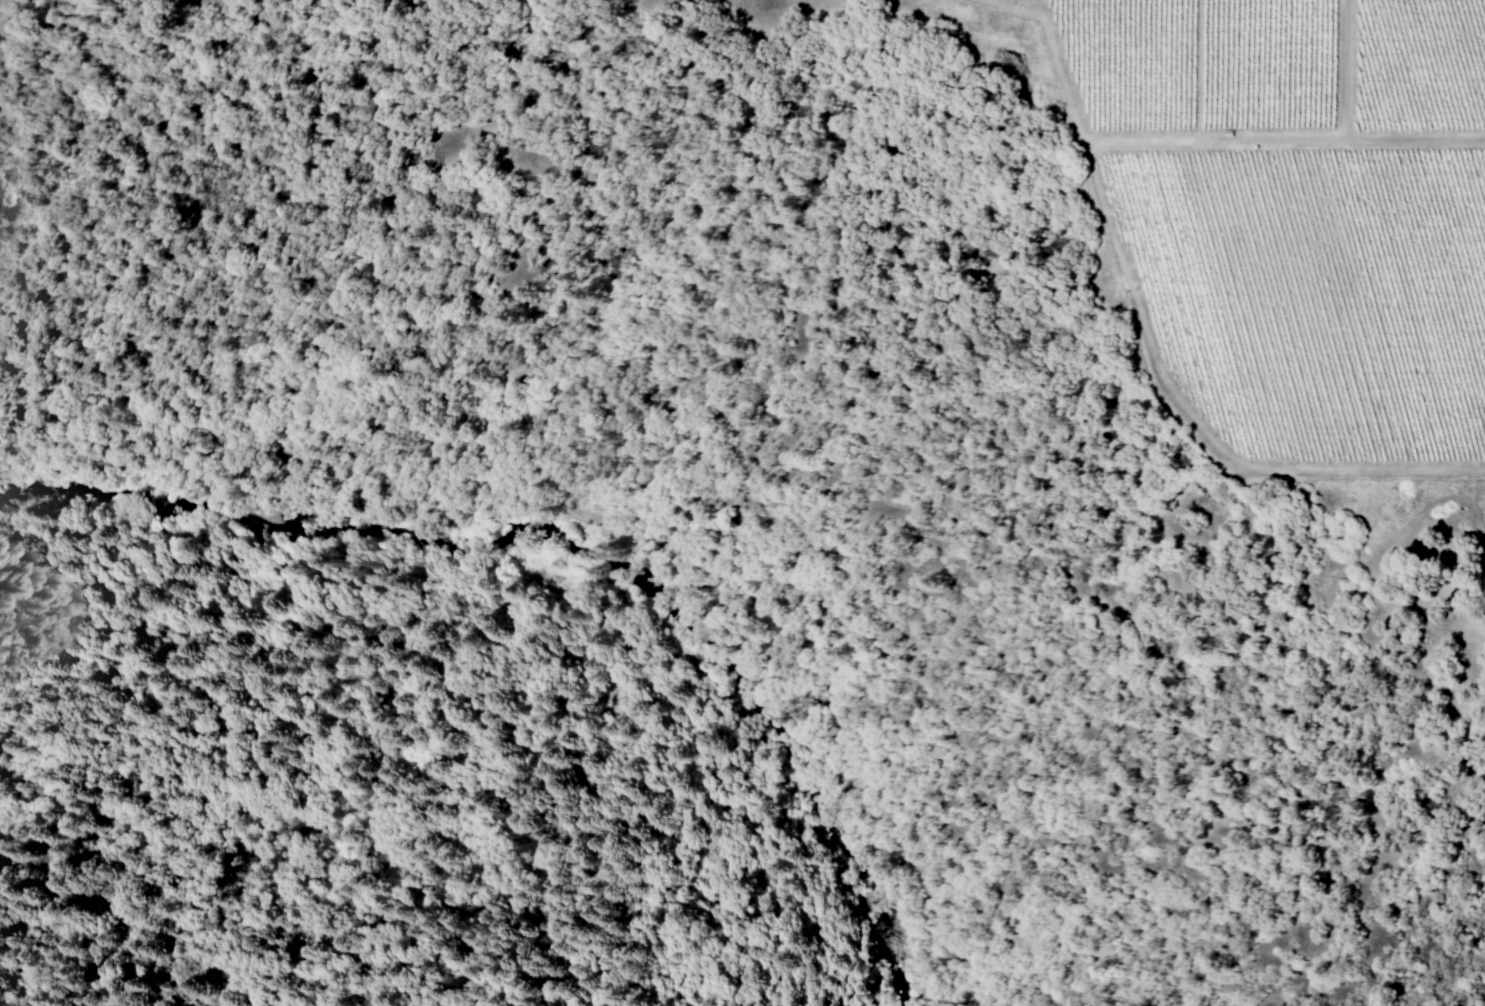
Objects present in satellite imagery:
crop: (1290, 217)
river: (579, 572)

